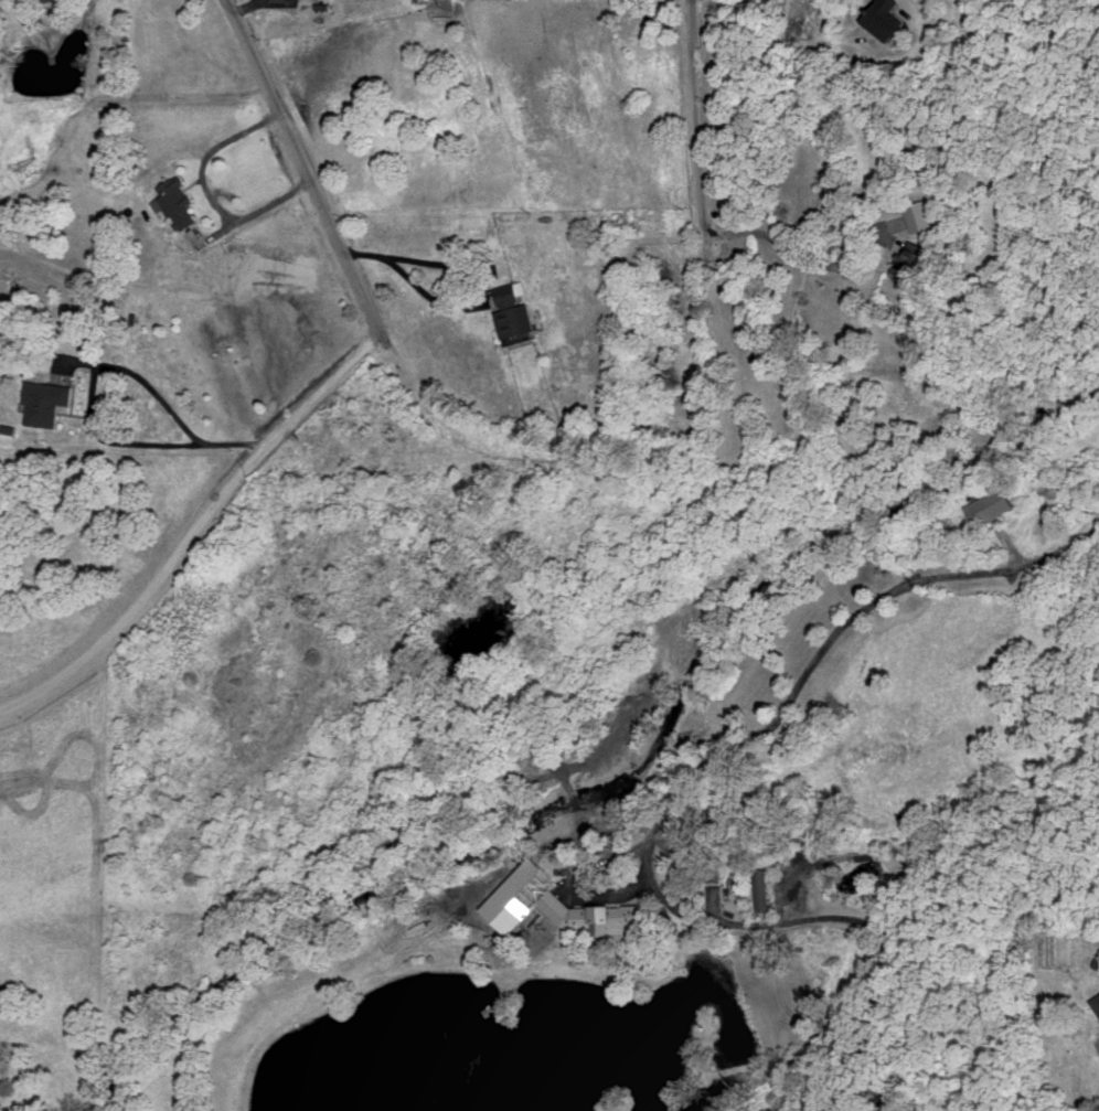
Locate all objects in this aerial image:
building: (418, 0)
road: (246, 8)
building: (887, 19)
road: (750, 58)
road: (847, 64)
road: (692, 117)
road: (301, 163)
road: (212, 195)
building: (178, 202)
building: (921, 216)
road: (799, 256)
building: (913, 259)
road: (418, 282)
building: (515, 312)
road: (94, 375)
building: (47, 402)
road: (301, 408)
building: (993, 505)
road: (152, 597)
road: (815, 658)
building: (764, 888)
building: (596, 916)
building: (1096, 1000)

